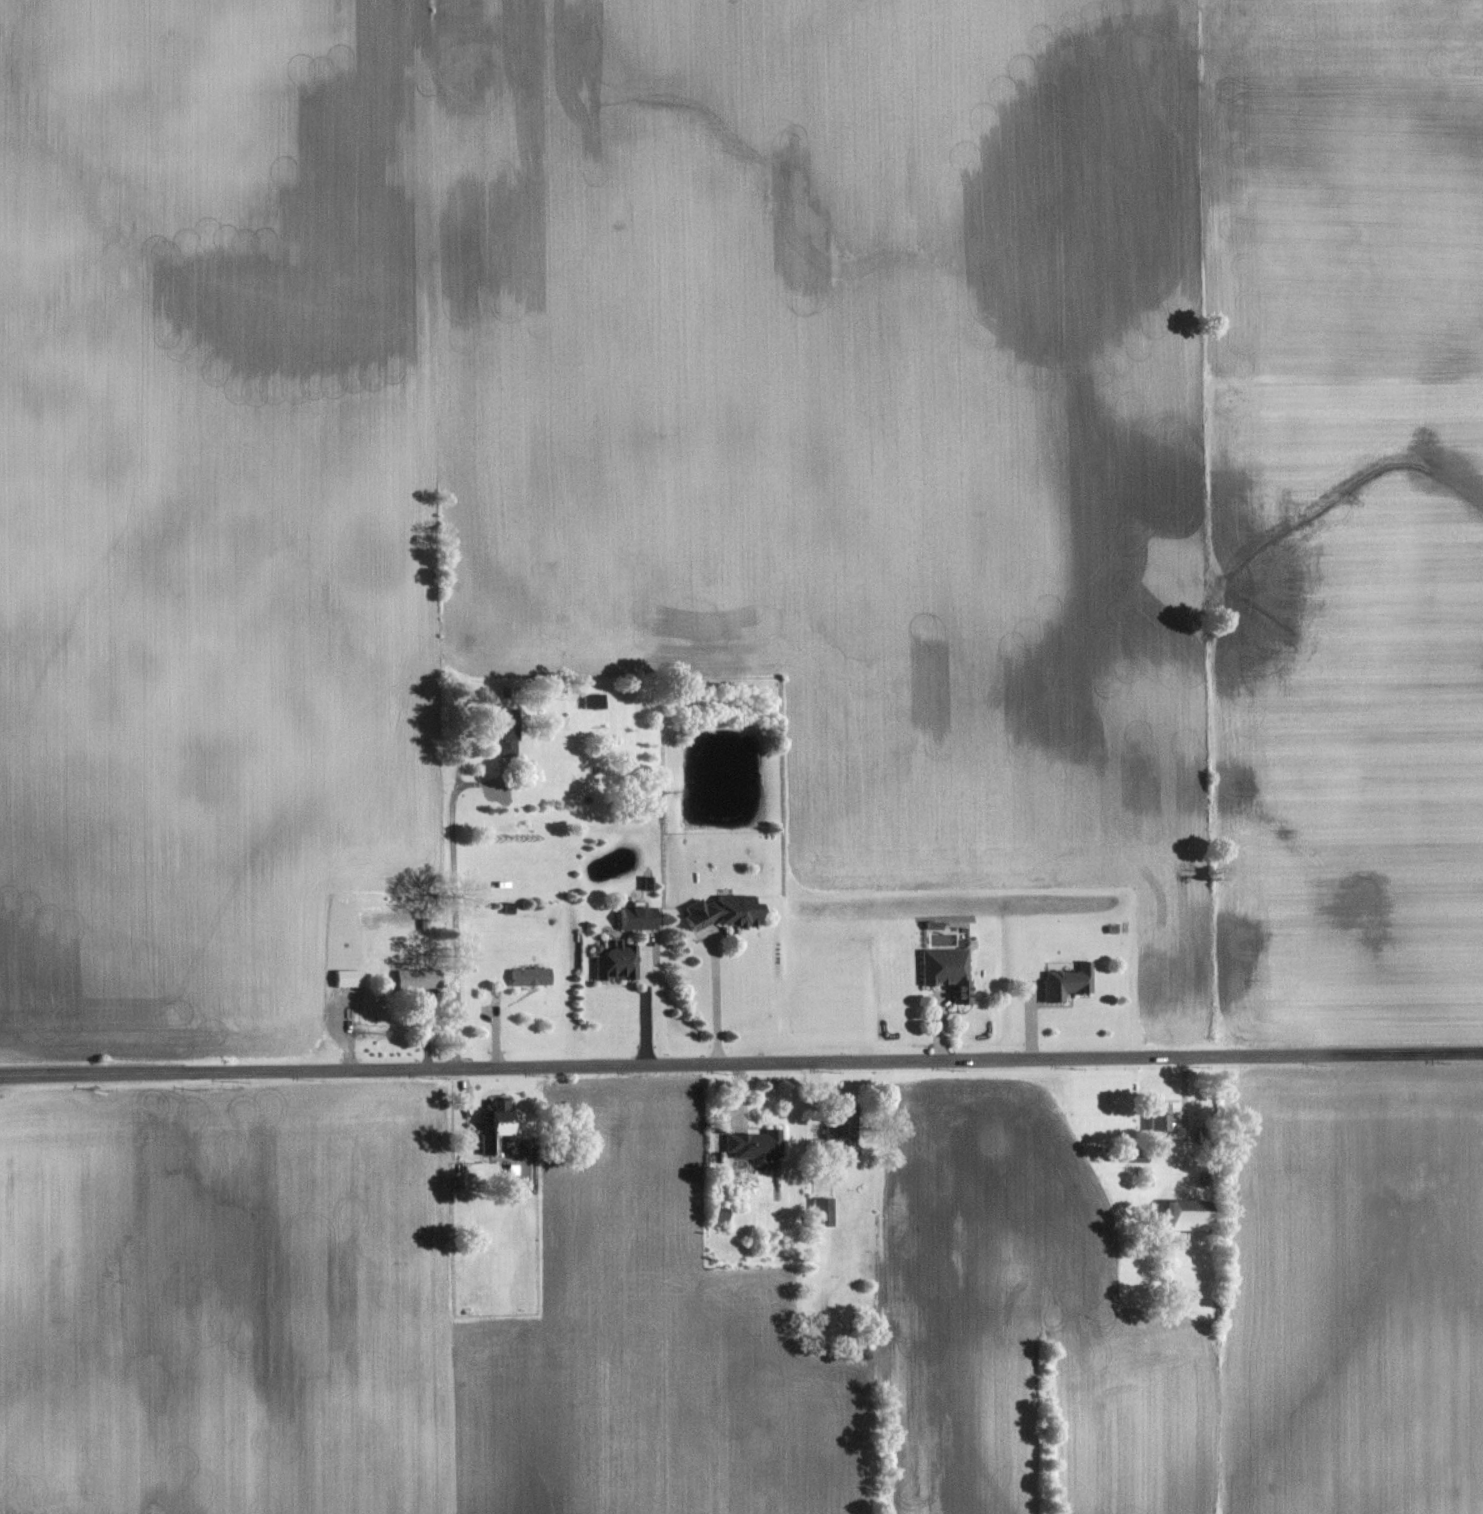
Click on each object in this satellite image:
building: (596, 701)
building: (510, 732)
building: (728, 912)
road: (455, 913)
building: (641, 918)
building: (620, 963)
building: (949, 972)
building: (533, 977)
building: (350, 979)
building: (421, 979)
building: (1069, 982)
road: (716, 996)
road: (646, 999)
road: (741, 1064)
building: (1153, 1115)
building: (843, 1129)
building: (757, 1146)
building: (827, 1212)
building: (1176, 1218)

